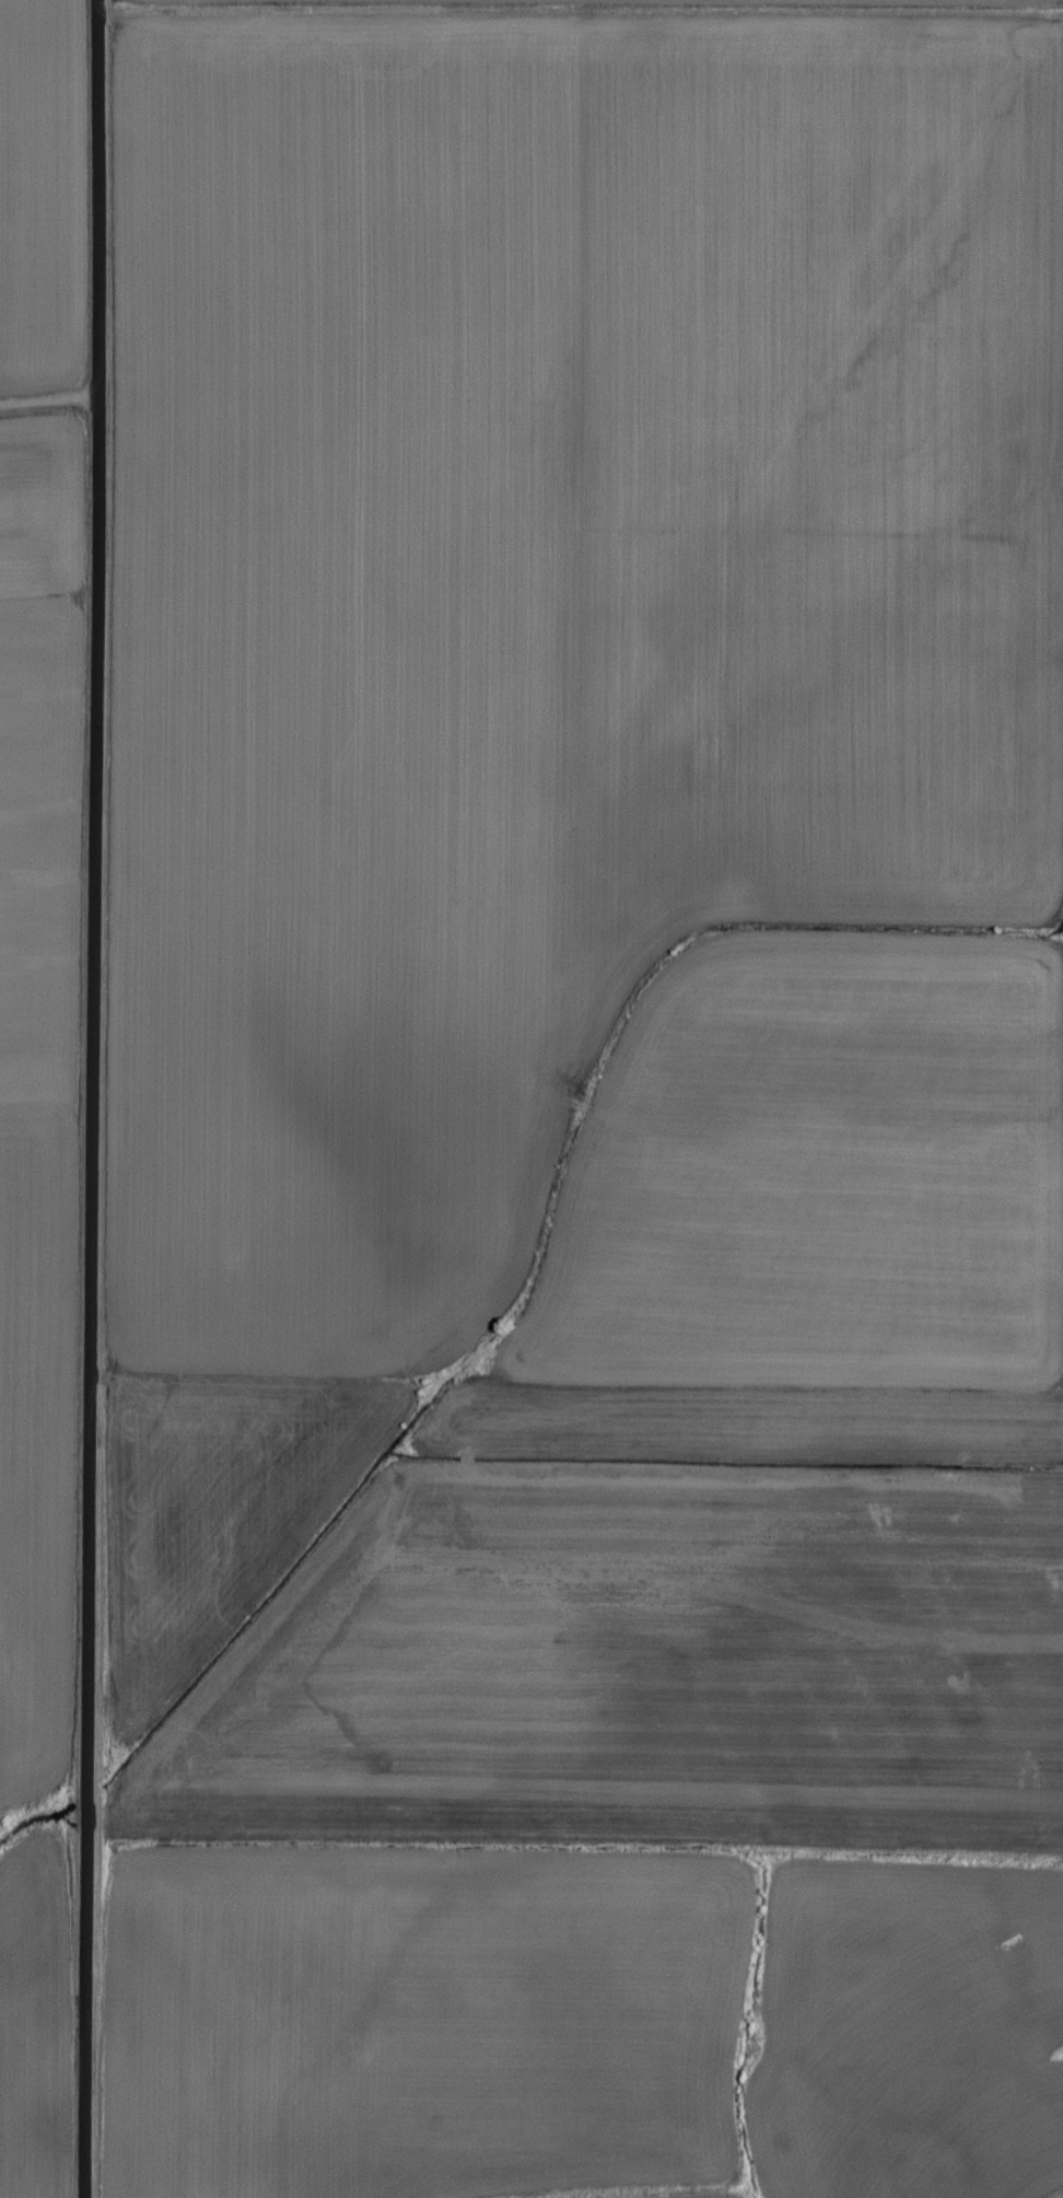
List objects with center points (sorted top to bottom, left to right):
road: (48, 403)
road: (90, 1098)

